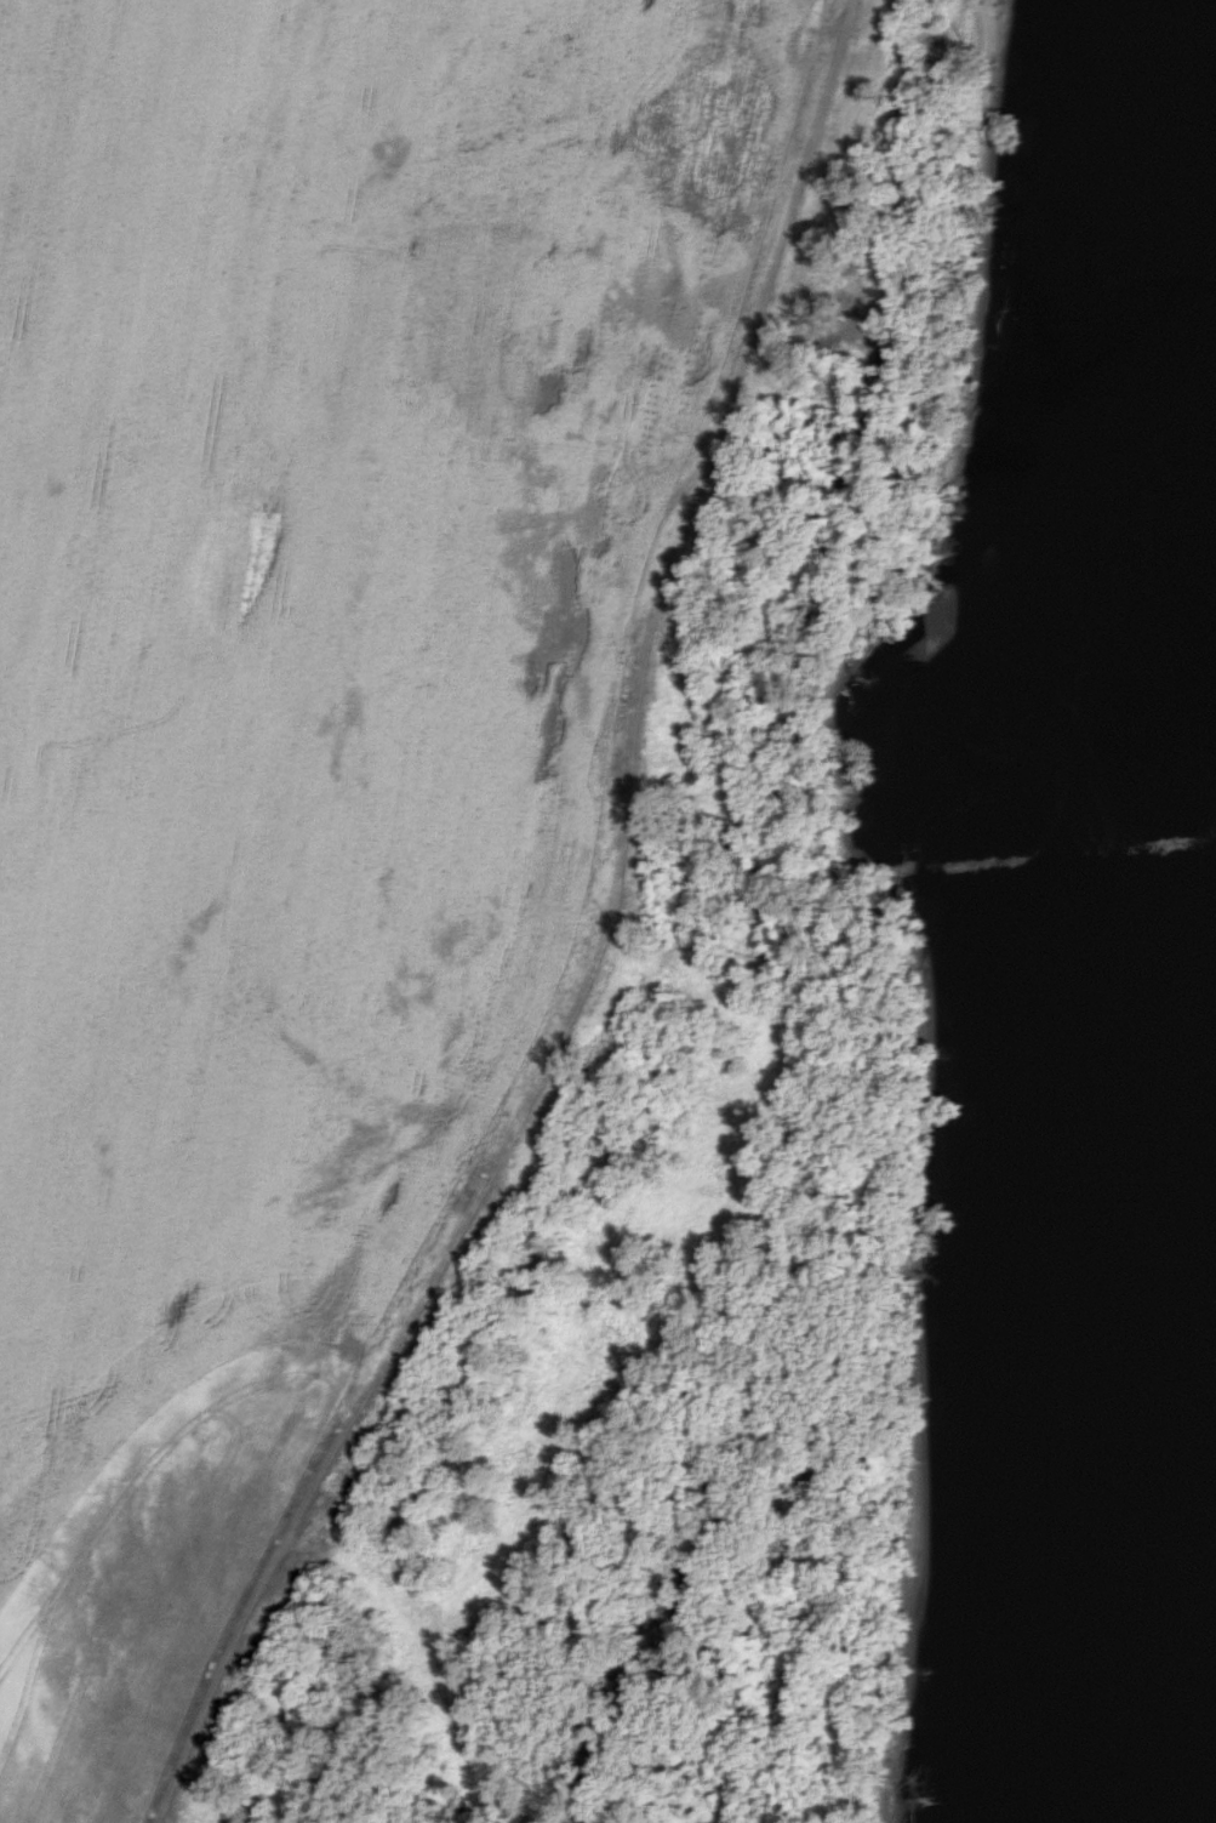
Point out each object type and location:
crop: (302, 713)
road: (606, 947)
road: (656, 961)
road: (616, 1225)

